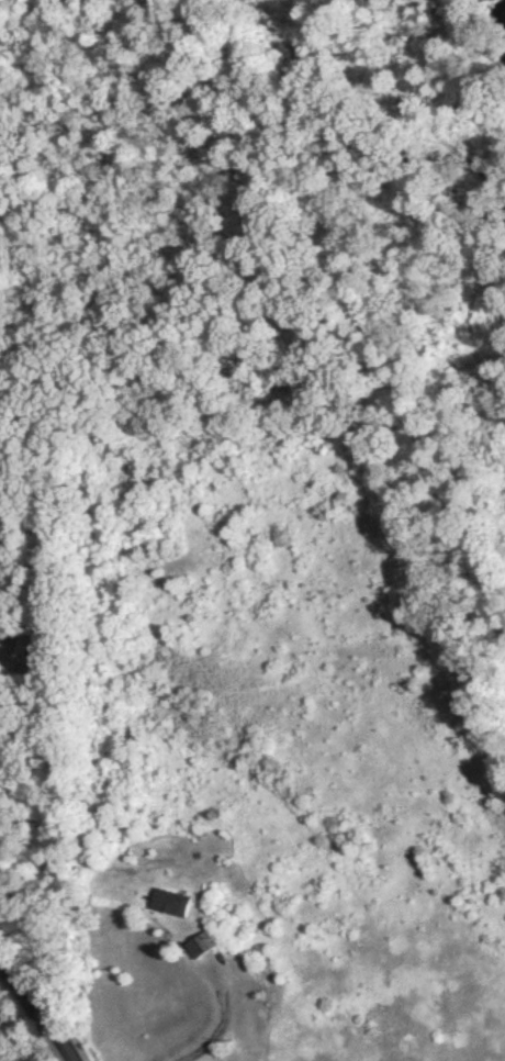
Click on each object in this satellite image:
building: (0, 596)
building: (169, 907)
building: (199, 950)
road: (41, 1007)
road: (222, 1021)

